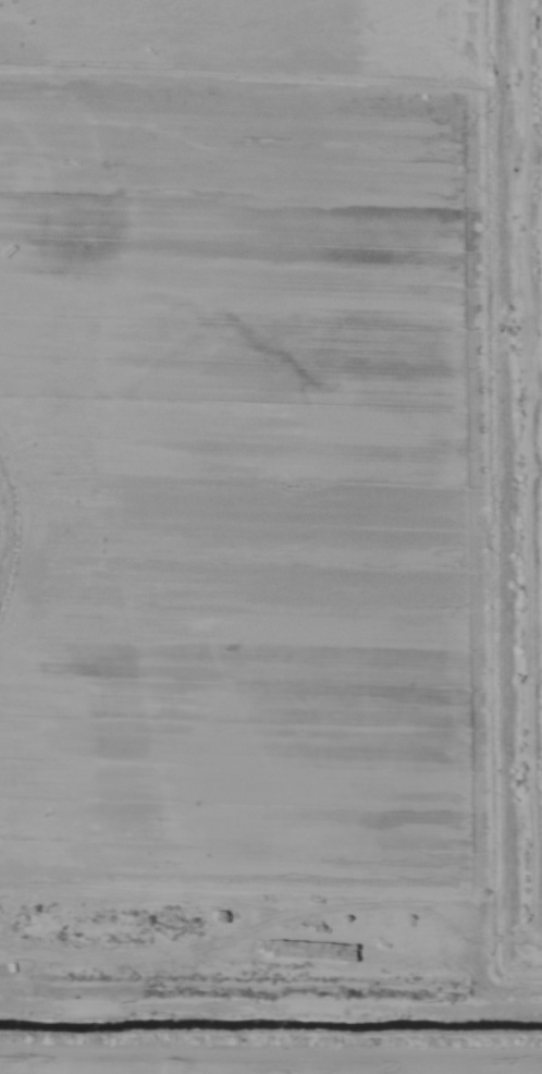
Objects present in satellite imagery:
road: (17, 529)
road: (271, 1047)

